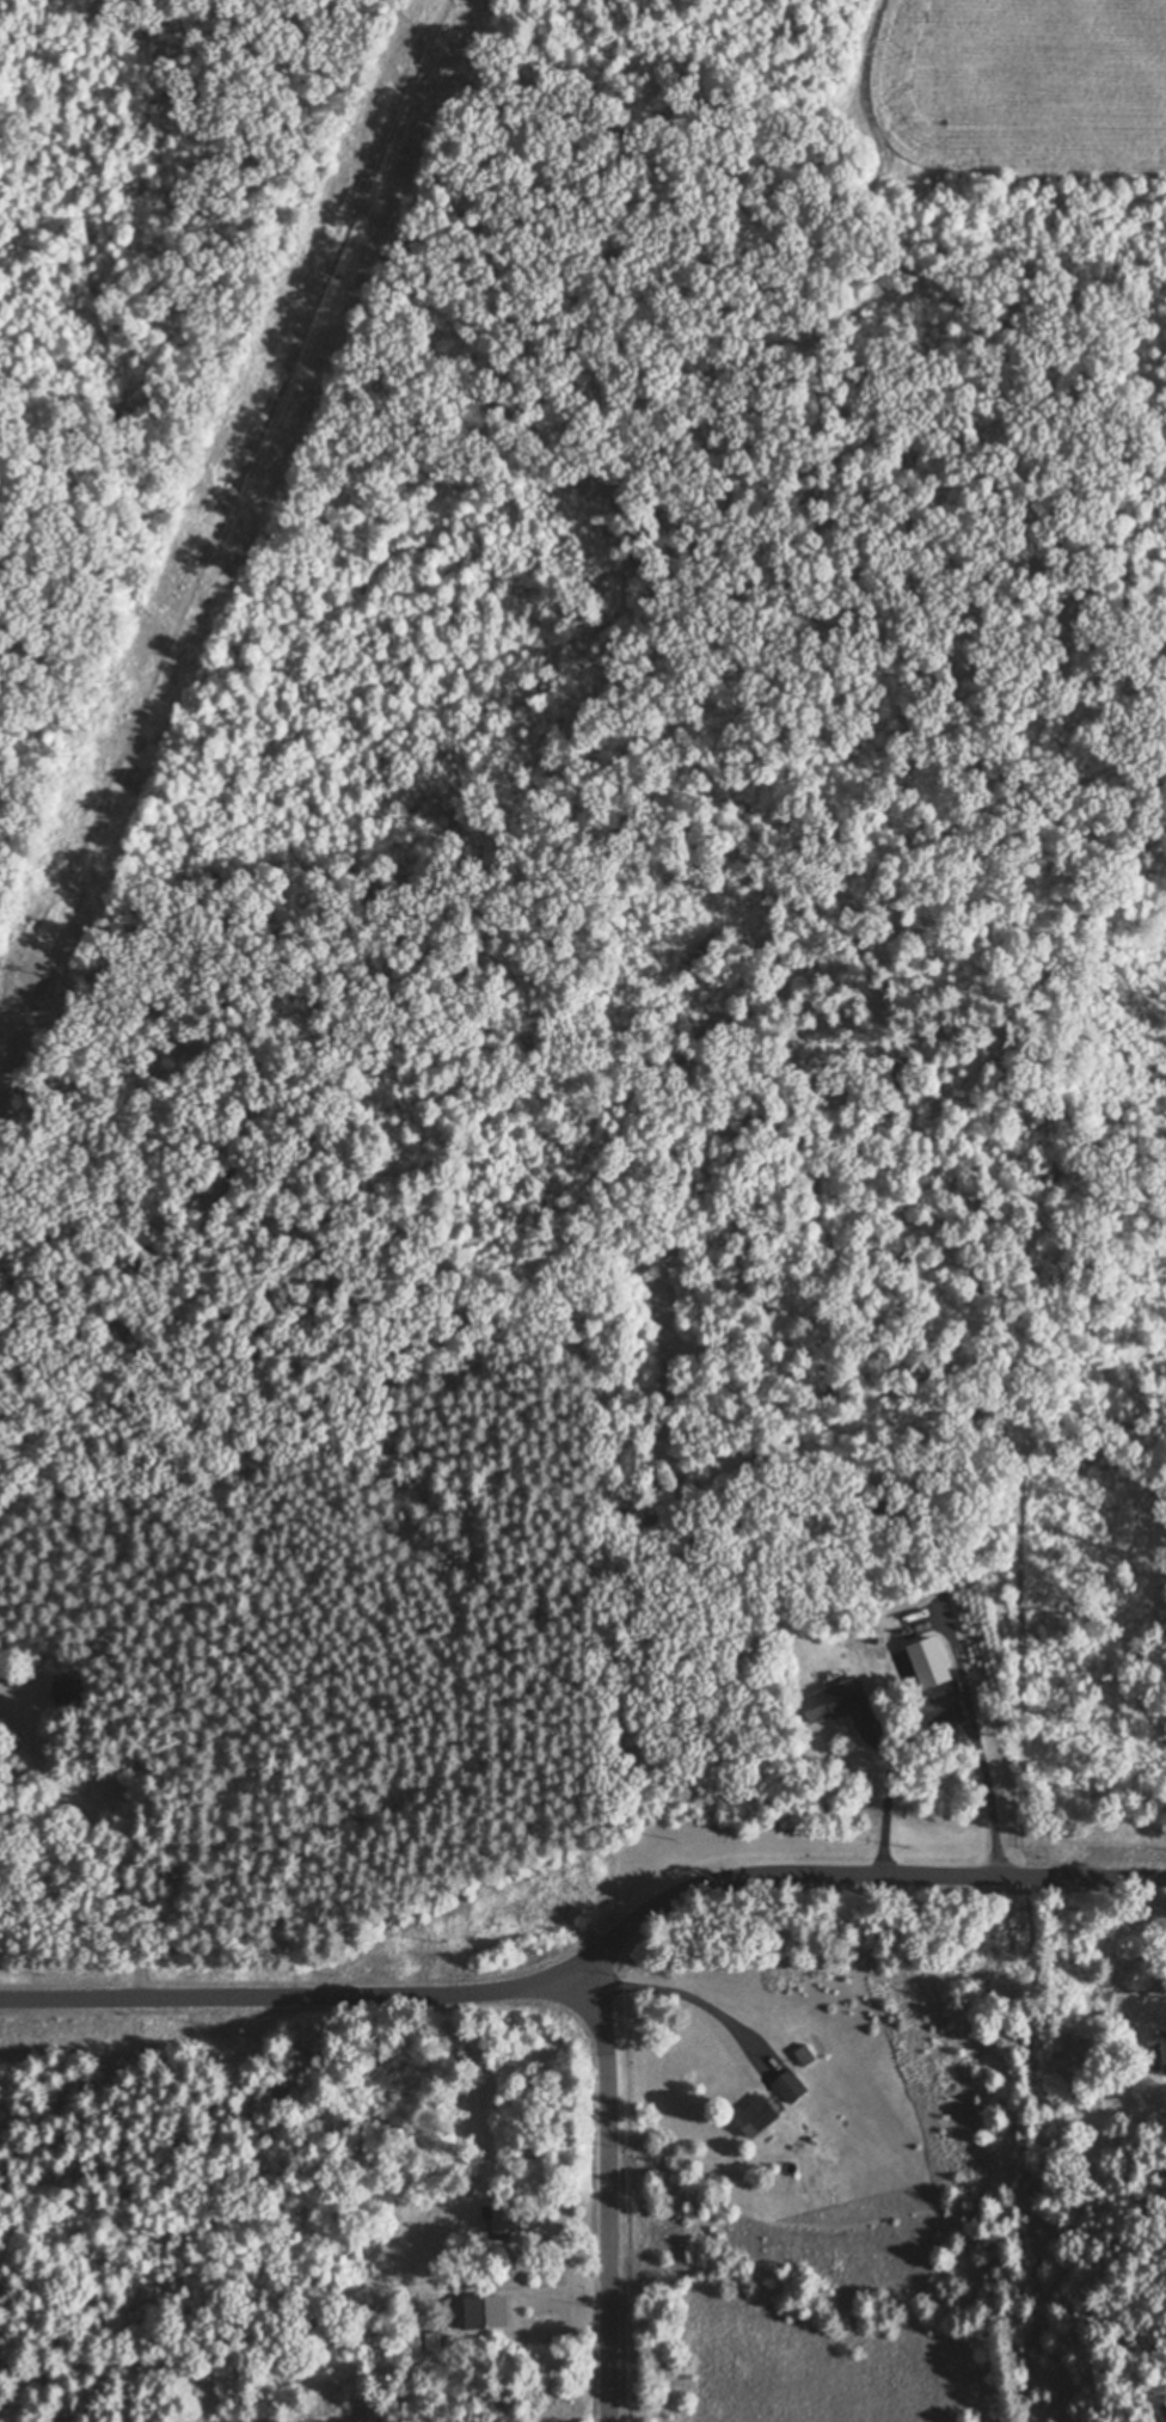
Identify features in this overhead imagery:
power tower: (330, 271)
power tower: (26, 967)
building: (925, 1660)
building: (829, 1700)
road: (884, 1788)
road: (987, 1791)
road: (593, 1963)
building: (1118, 2006)
building: (786, 2084)
building: (751, 2115)
road: (608, 2199)
building: (496, 2224)
road: (553, 2268)
building: (480, 2310)

